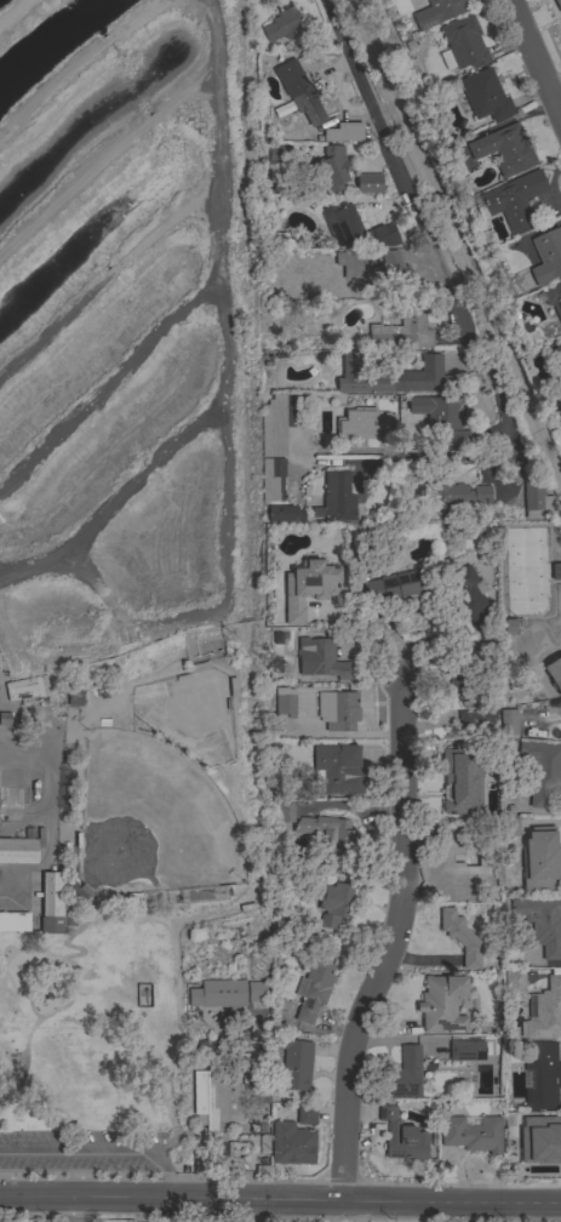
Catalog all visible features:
building: (557, 5)
building: (436, 12)
building: (282, 25)
building: (560, 25)
building: (462, 44)
road: (533, 62)
building: (299, 91)
building: (483, 96)
building: (342, 132)
building: (504, 149)
building: (274, 154)
building: (328, 169)
building: (367, 182)
building: (514, 201)
building: (354, 227)
road: (423, 234)
building: (279, 239)
building: (546, 256)
building: (348, 263)
building: (389, 269)
building: (551, 297)
building: (400, 332)
building: (557, 349)
building: (391, 377)
building: (442, 417)
building: (362, 423)
building: (274, 424)
building: (271, 479)
building: (457, 496)
building: (336, 498)
building: (538, 503)
building: (281, 514)
building: (397, 584)
building: (308, 587)
park: (131, 589)
building: (468, 596)
building: (505, 626)
building: (322, 658)
building: (554, 673)
building: (28, 690)
building: (468, 697)
building: (74, 698)
building: (286, 701)
building: (337, 709)
park: (193, 714)
building: (508, 721)
building: (336, 770)
building: (457, 770)
building: (542, 771)
building: (485, 805)
park: (153, 822)
building: (508, 827)
building: (322, 835)
building: (18, 849)
building: (540, 861)
building: (456, 872)
building: (76, 889)
road: (240, 904)
building: (336, 904)
building: (53, 906)
building: (13, 921)
building: (542, 923)
building: (460, 938)
road: (391, 947)
road: (10, 961)
road: (4, 965)
building: (514, 983)
road: (71, 989)
building: (313, 989)
building: (256, 992)
building: (219, 995)
building: (441, 1004)
road: (56, 1011)
building: (544, 1012)
building: (465, 1051)
building: (293, 1062)
building: (406, 1073)
building: (542, 1075)
building: (214, 1101)
building: (305, 1114)
building: (401, 1135)
building: (470, 1135)
building: (292, 1144)
building: (543, 1144)
road: (75, 1153)
parking lot: (85, 1153)
building: (204, 1166)
road: (122, 1199)
road: (402, 1204)
road: (78, 1210)
road: (333, 1212)

